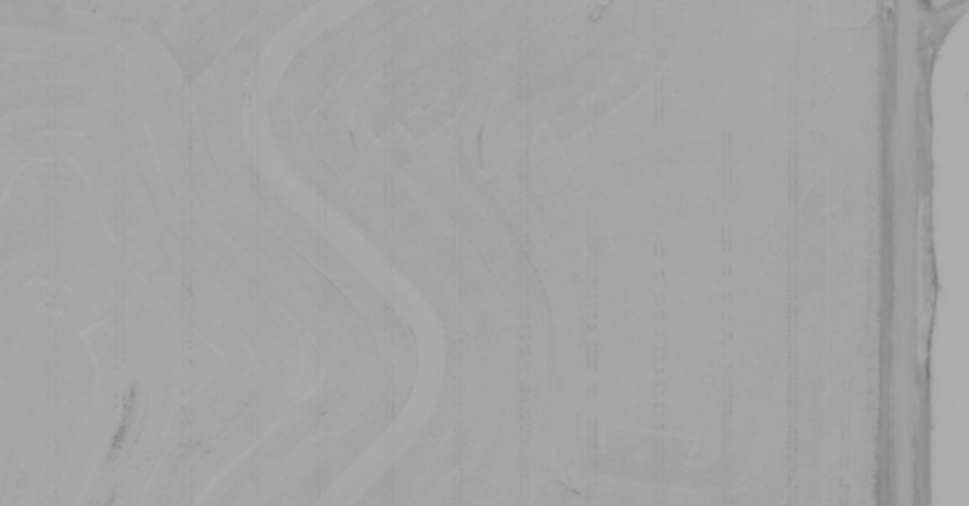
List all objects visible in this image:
road: (906, 252)

